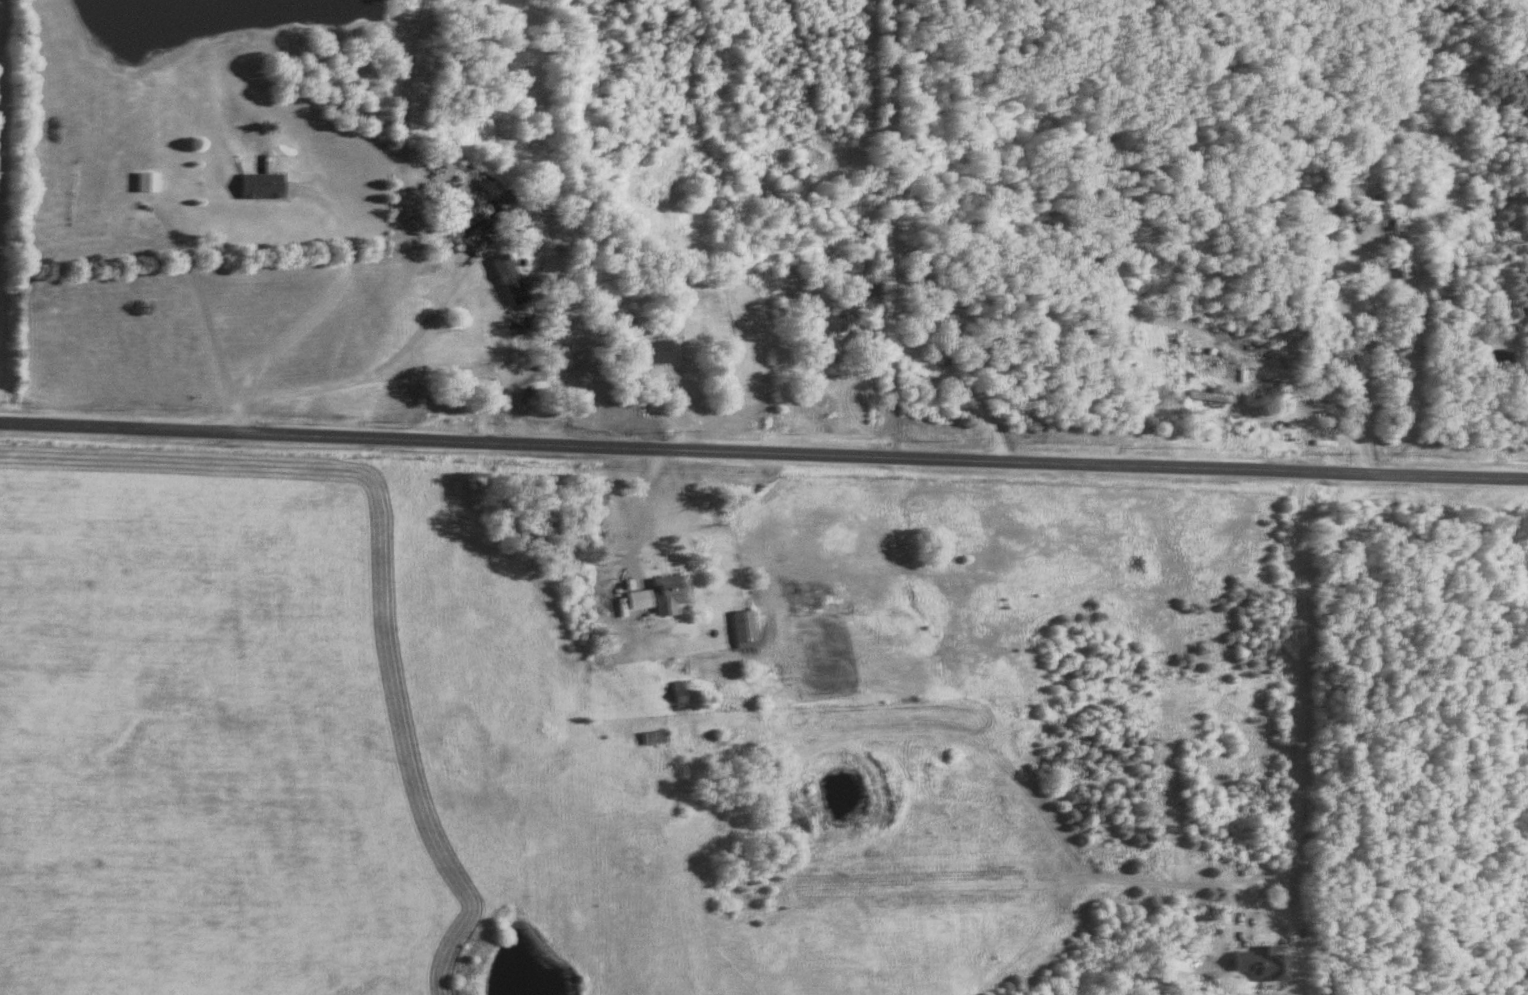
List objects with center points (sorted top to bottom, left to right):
building: (266, 185)
road: (896, 229)
building: (1406, 257)
building: (515, 278)
road: (327, 302)
building: (838, 321)
road: (1378, 341)
building: (662, 351)
road: (964, 393)
road: (763, 456)
building: (673, 591)
building: (643, 597)
building: (748, 627)
building: (1268, 963)
building: (1177, 968)

